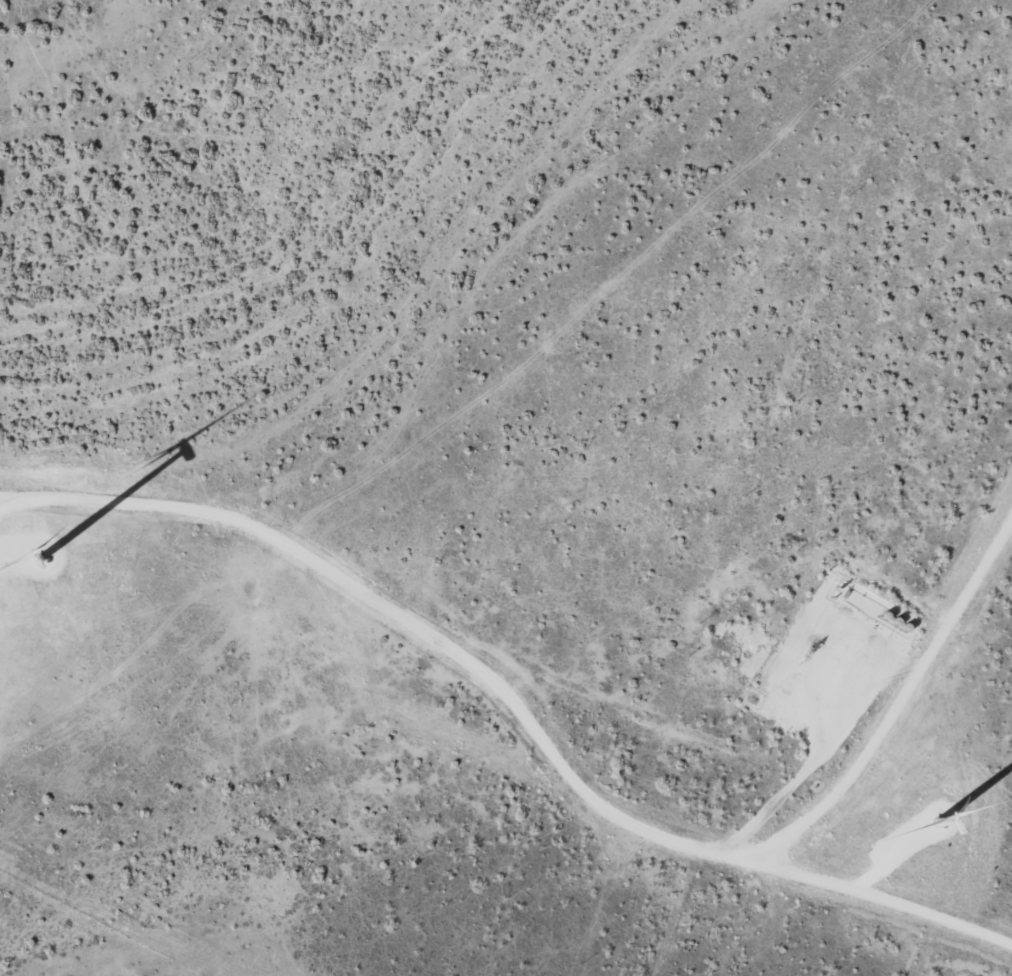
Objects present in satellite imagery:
wind turbine: (41, 558)
wind turbine: (938, 822)

